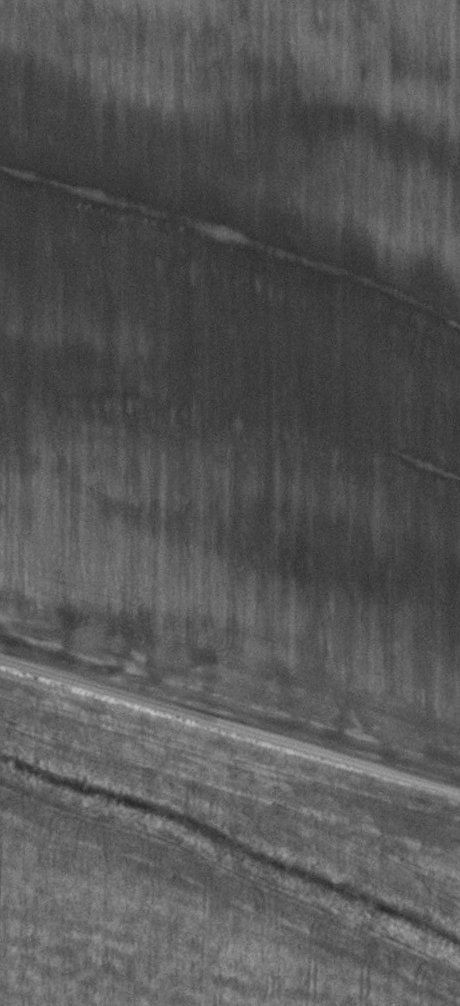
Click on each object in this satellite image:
road: (229, 723)

